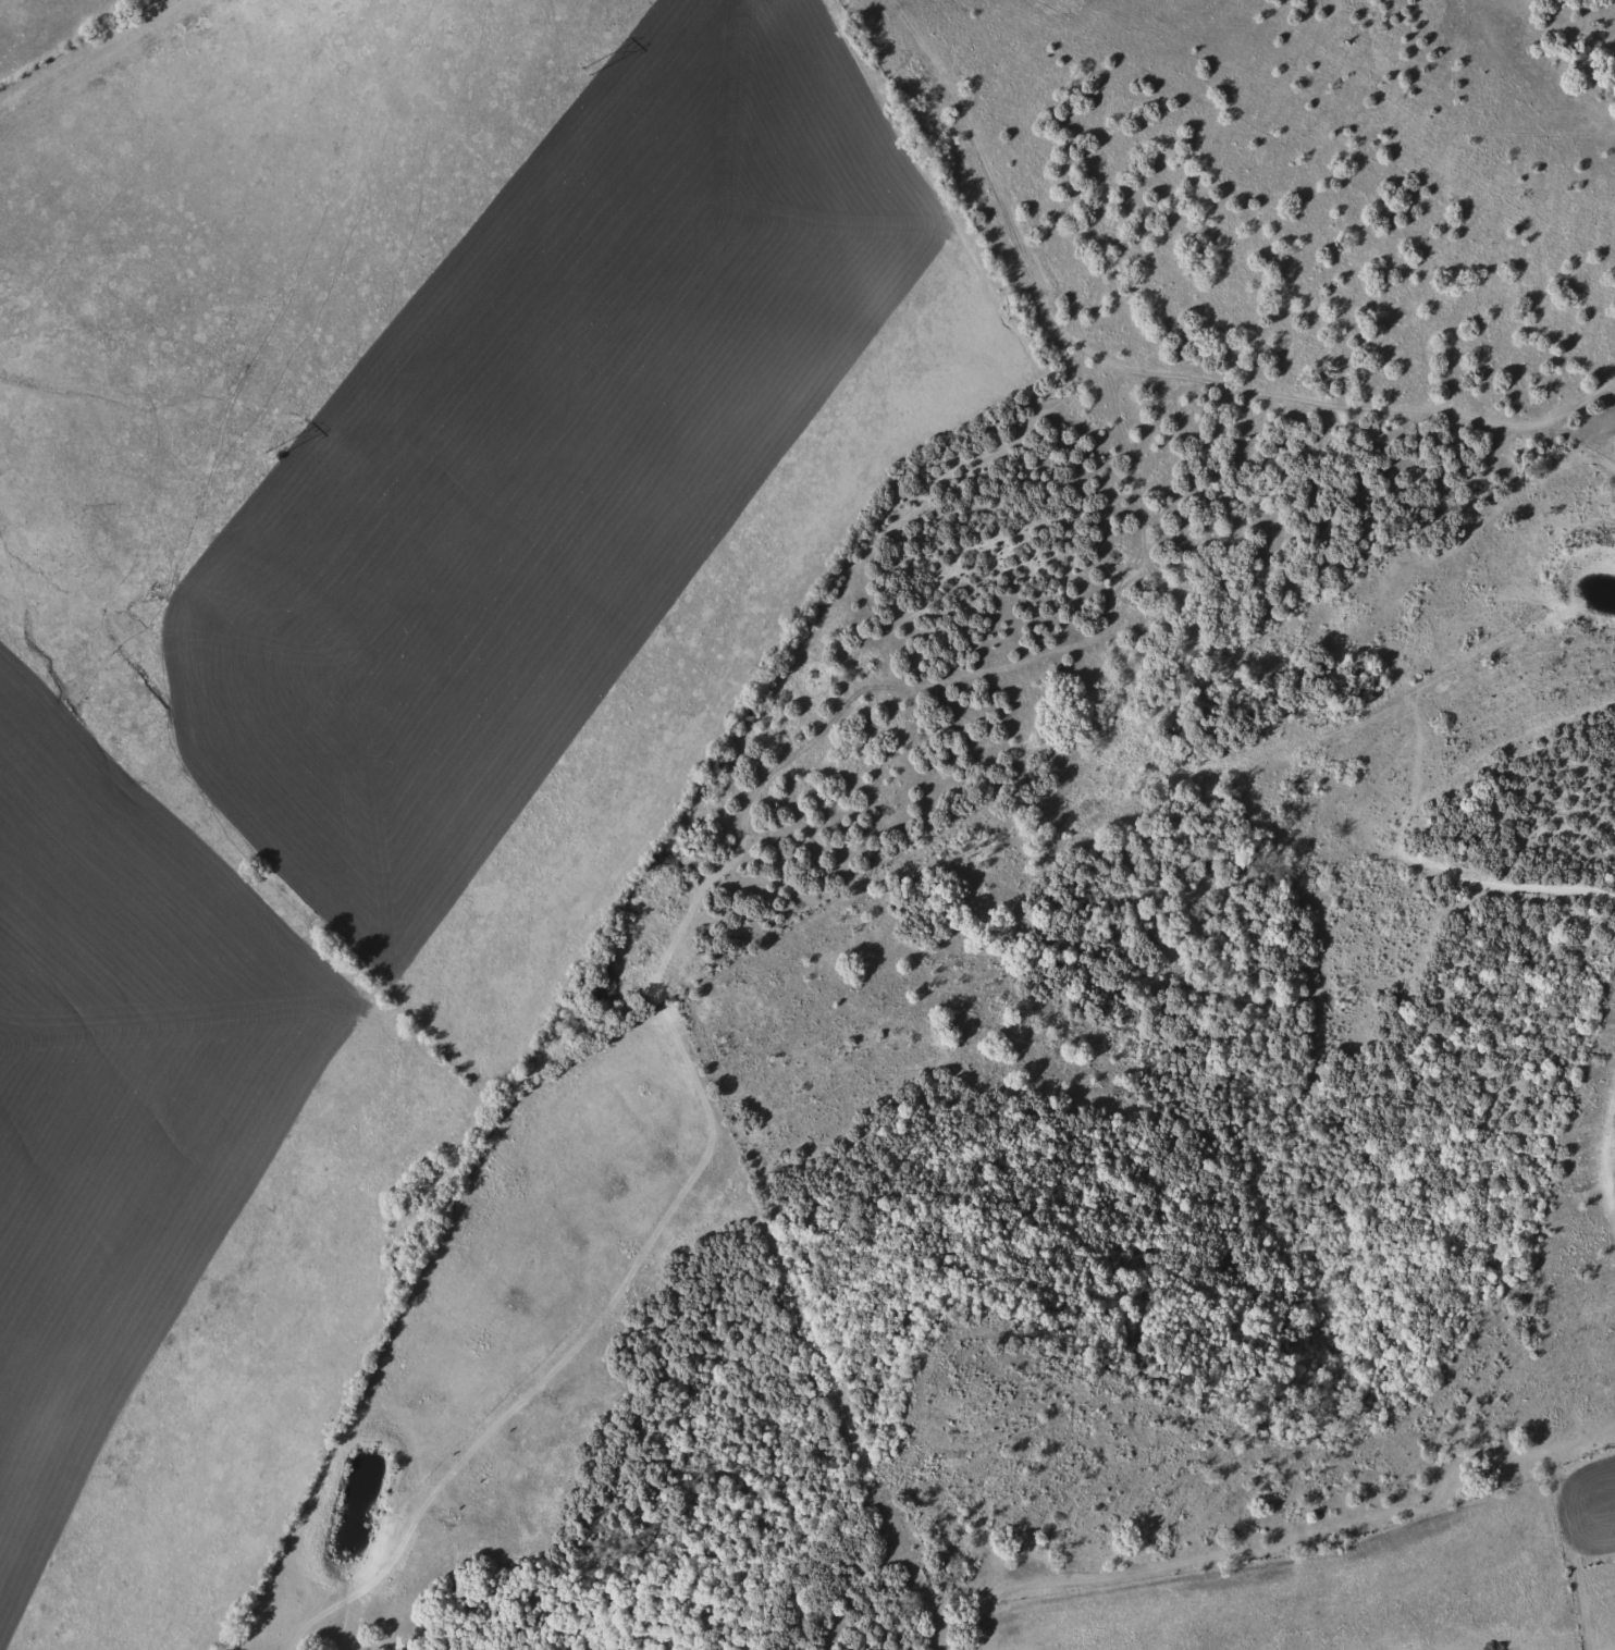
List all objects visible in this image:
power tower: (587, 70)
power tower: (270, 454)
road: (293, 1638)

